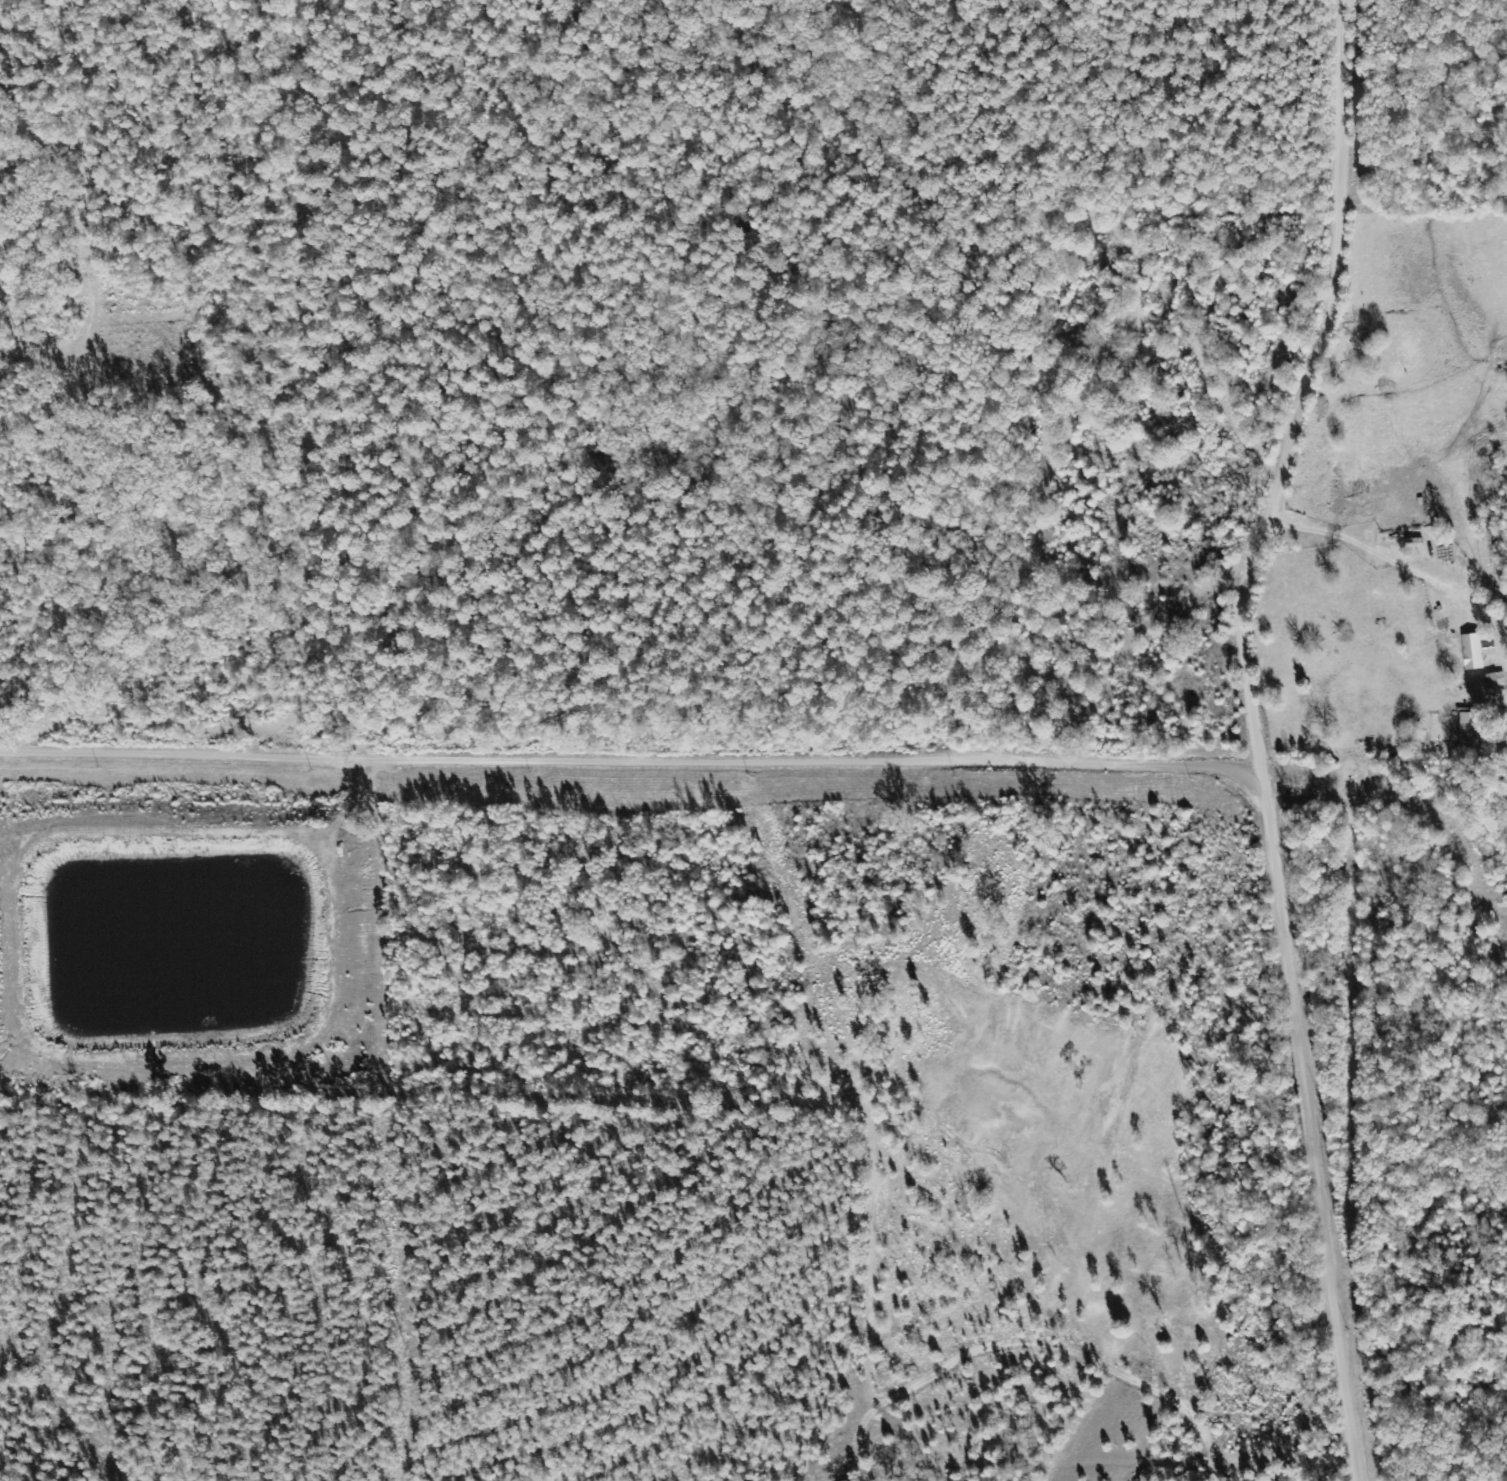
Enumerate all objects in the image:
road: (1369, 548)
building: (1475, 651)
building: (1471, 728)
road: (1262, 737)

